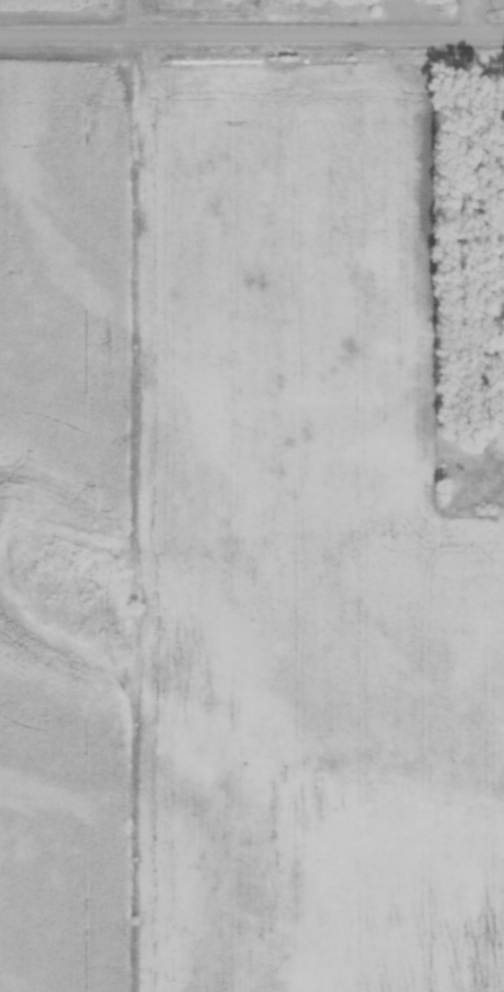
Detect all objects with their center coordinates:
road: (252, 34)

